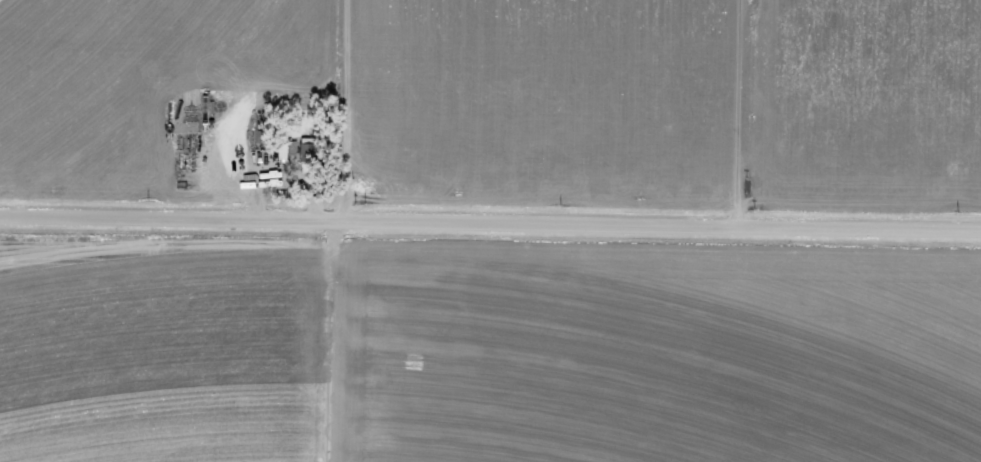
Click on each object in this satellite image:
road: (332, 230)
road: (490, 234)

